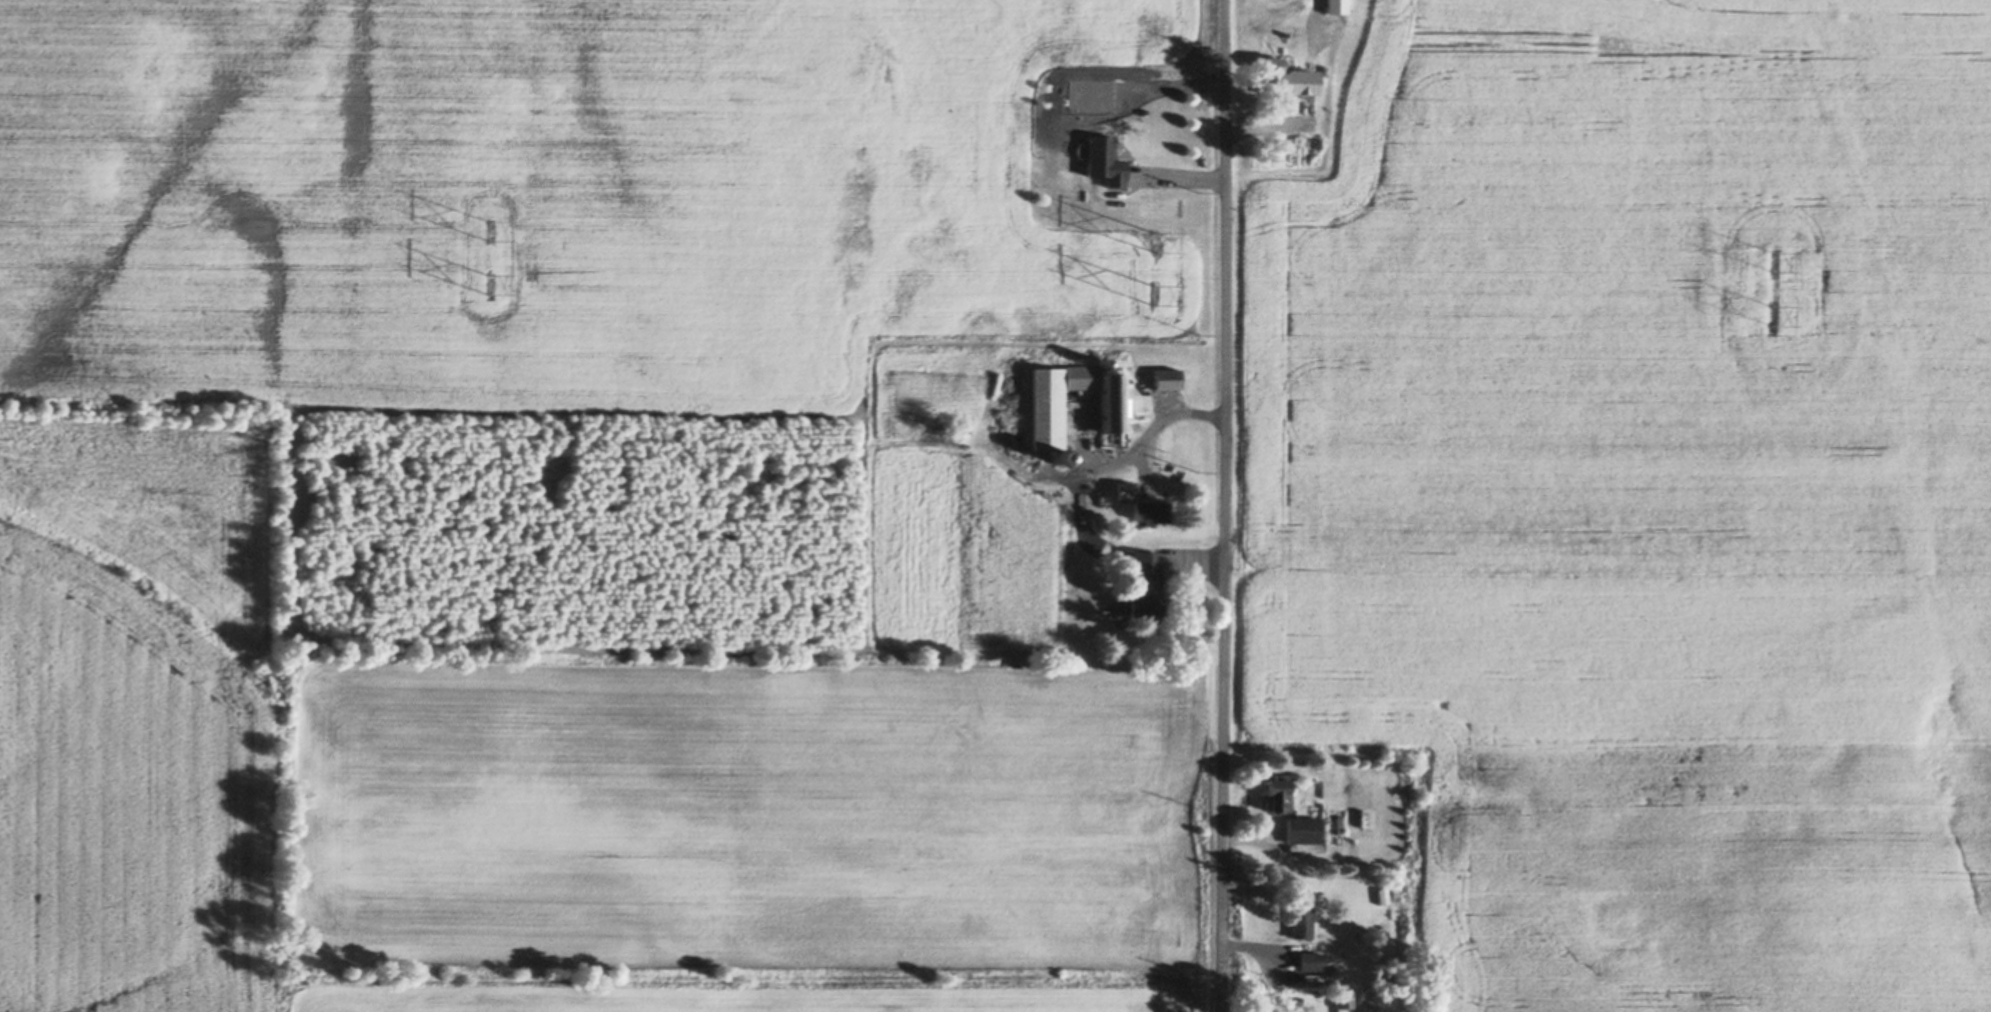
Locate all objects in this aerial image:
building: (1336, 4)
building: (1285, 73)
building: (1316, 140)
building: (1103, 157)
road: (1180, 175)
power tower: (489, 228)
power tower: (1154, 242)
power tower: (1772, 257)
power tower: (486, 283)
power tower: (1151, 292)
power tower: (1769, 312)
building: (1138, 367)
building: (1185, 372)
building: (1047, 413)
road: (1159, 419)
building: (1060, 456)
building: (1085, 458)
building: (1124, 487)
road: (1221, 506)
building: (1149, 508)
building: (1146, 580)
building: (1277, 791)
building: (1334, 819)
building: (1303, 828)
building: (1300, 920)
building: (1311, 960)
building: (1344, 997)

